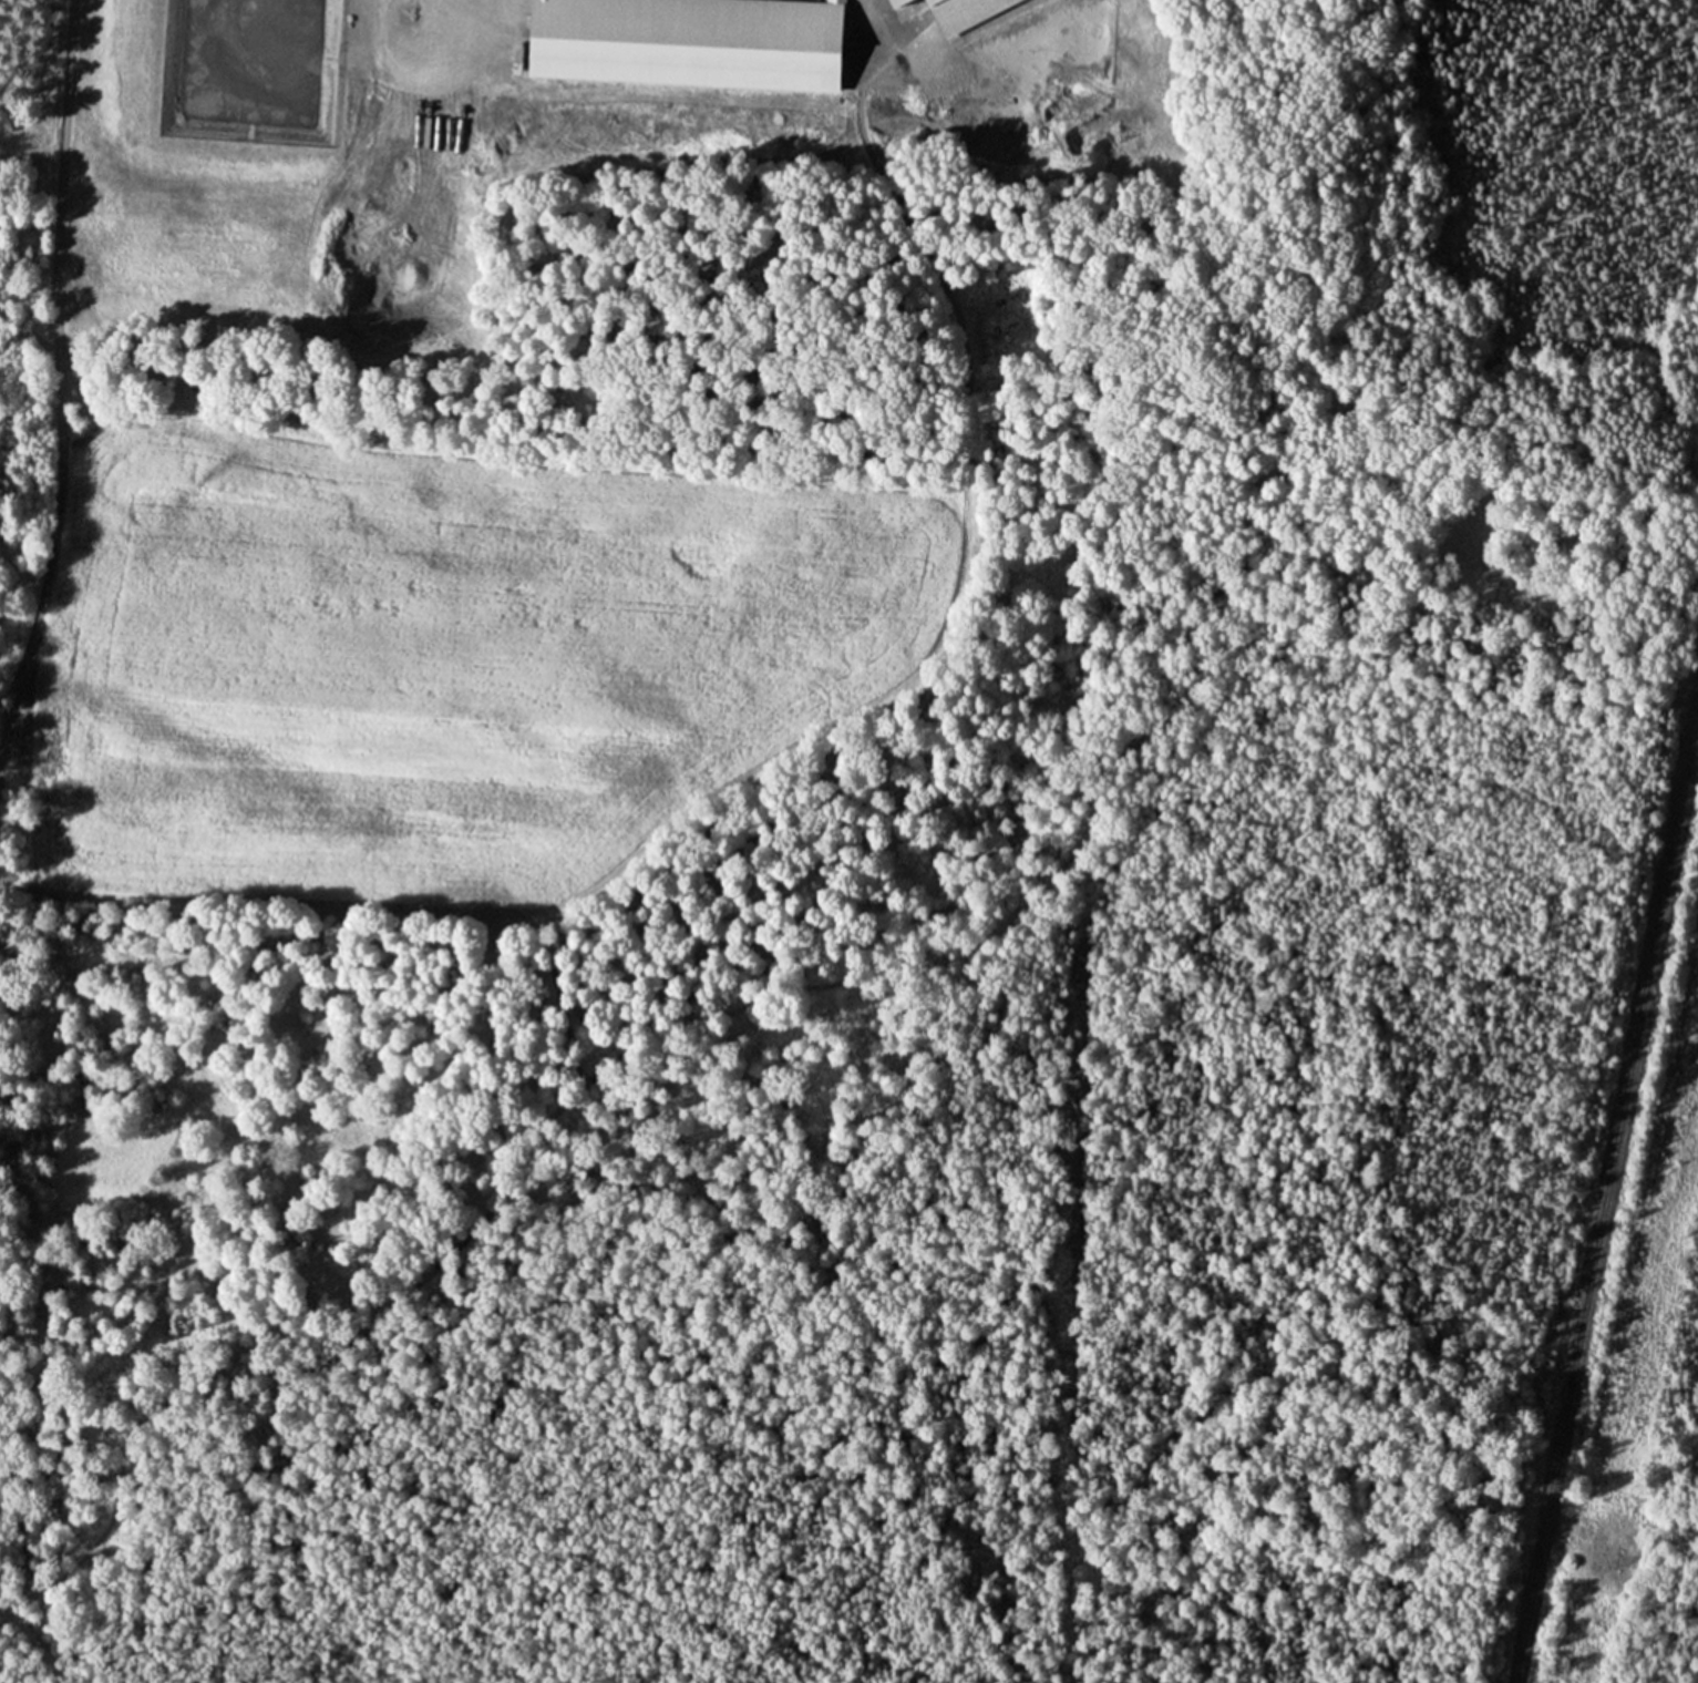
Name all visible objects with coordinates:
power tower: (1680, 1110)
railway: (1605, 1192)
power tower: (1595, 1564)

